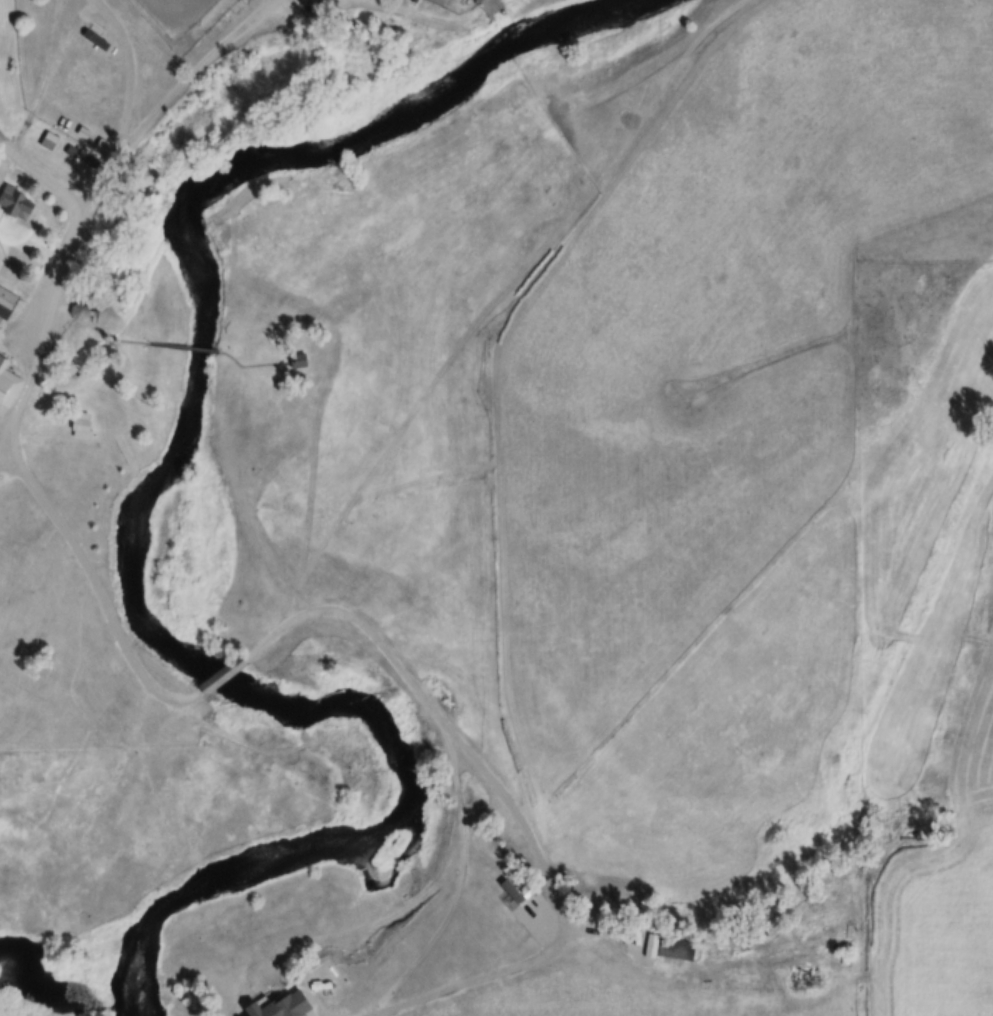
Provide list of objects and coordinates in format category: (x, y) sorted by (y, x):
building: (96, 40)
building: (49, 142)
building: (16, 203)
building: (8, 300)
building: (8, 384)
building: (81, 424)
river: (149, 535)
building: (227, 673)
building: (674, 947)

